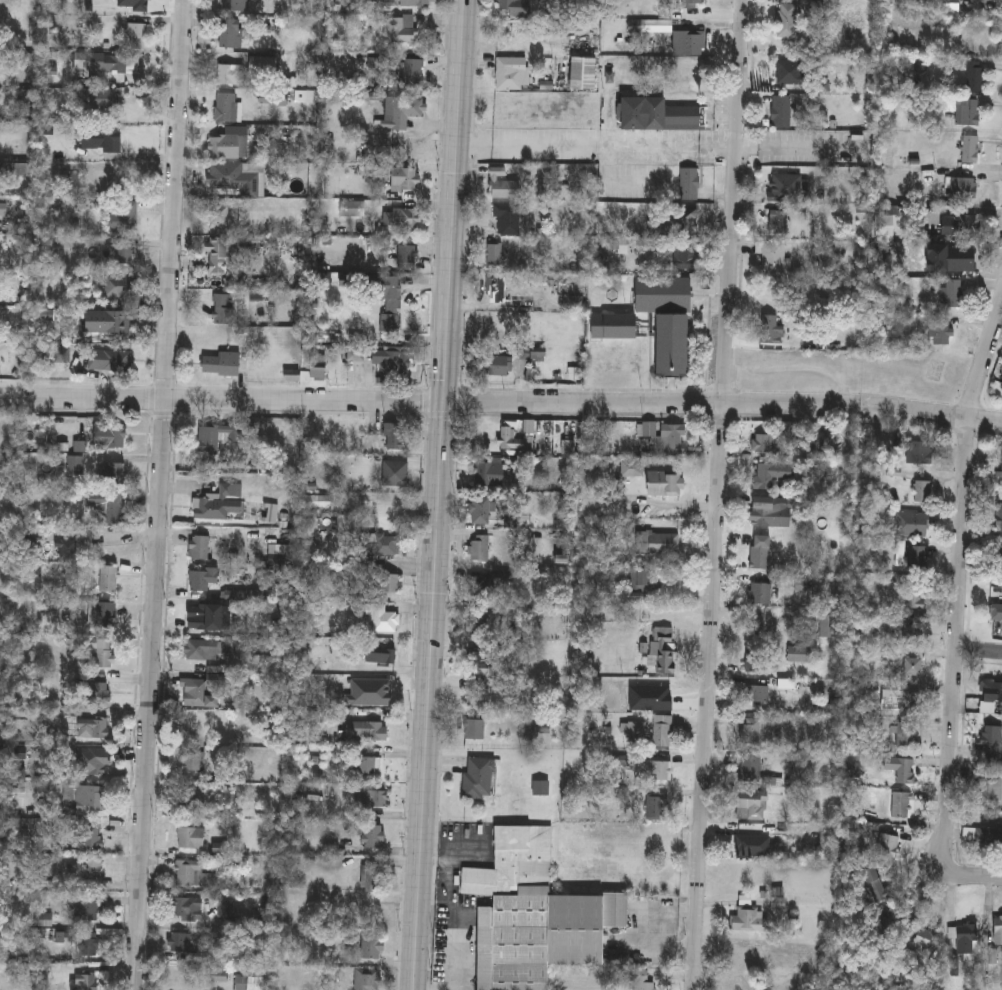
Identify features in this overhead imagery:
building: (415, 2)
building: (689, 4)
building: (234, 5)
building: (136, 7)
building: (515, 8)
building: (788, 22)
building: (398, 27)
building: (229, 32)
building: (135, 35)
building: (690, 45)
building: (113, 62)
building: (586, 71)
building: (412, 72)
building: (229, 73)
building: (792, 74)
building: (513, 75)
building: (689, 75)
building: (975, 78)
building: (102, 96)
building: (224, 105)
building: (402, 111)
building: (502, 112)
building: (782, 113)
building: (969, 114)
building: (658, 116)
building: (99, 138)
building: (226, 142)
road: (596, 150)
building: (971, 151)
building: (225, 175)
building: (404, 177)
building: (72, 183)
building: (503, 188)
building: (681, 188)
building: (965, 189)
building: (786, 190)
building: (349, 207)
building: (218, 211)
building: (405, 216)
building: (121, 217)
building: (507, 221)
building: (897, 222)
building: (779, 224)
building: (677, 226)
building: (964, 226)
building: (220, 245)
building: (404, 253)
building: (123, 254)
building: (495, 256)
building: (685, 257)
building: (774, 259)
building: (951, 260)
building: (390, 285)
building: (497, 291)
building: (952, 295)
building: (221, 304)
building: (107, 320)
building: (389, 321)
building: (669, 321)
building: (616, 328)
building: (941, 330)
building: (771, 332)
building: (355, 351)
building: (388, 357)
building: (108, 358)
building: (220, 362)
building: (317, 365)
building: (498, 366)
road: (501, 400)
building: (394, 435)
building: (115, 436)
building: (209, 439)
building: (672, 440)
building: (515, 443)
building: (763, 445)
building: (920, 454)
building: (74, 464)
building: (632, 471)
building: (395, 473)
building: (490, 475)
building: (771, 475)
building: (1000, 475)
building: (665, 485)
building: (922, 493)
road: (717, 494)
road: (160, 495)
road: (439, 495)
building: (110, 496)
building: (220, 502)
building: (999, 511)
building: (775, 512)
building: (483, 513)
building: (912, 525)
building: (383, 545)
building: (657, 545)
building: (198, 547)
building: (66, 549)
building: (479, 550)
building: (309, 551)
building: (761, 553)
building: (997, 558)
building: (202, 578)
building: (108, 579)
building: (389, 582)
building: (645, 582)
road: (958, 585)
building: (483, 588)
building: (888, 588)
building: (761, 595)
building: (917, 595)
building: (106, 614)
building: (996, 615)
building: (197, 617)
building: (378, 617)
building: (478, 623)
building: (829, 628)
building: (912, 631)
building: (659, 648)
building: (203, 649)
building: (103, 653)
road: (978, 653)
building: (380, 655)
building: (800, 656)
building: (476, 659)
building: (755, 662)
building: (913, 667)
building: (95, 690)
building: (996, 692)
building: (199, 693)
building: (755, 695)
building: (477, 697)
building: (906, 701)
building: (92, 728)
building: (367, 730)
building: (474, 730)
building: (633, 730)
building: (663, 732)
building: (751, 732)
building: (907, 736)
building: (992, 743)
building: (191, 759)
building: (96, 761)
building: (368, 766)
building: (751, 770)
building: (659, 772)
building: (904, 772)
building: (479, 779)
building: (989, 785)
building: (89, 797)
building: (375, 798)
building: (190, 803)
building: (900, 806)
building: (752, 807)
building: (657, 808)
building: (92, 834)
building: (373, 836)
building: (190, 837)
building: (989, 838)
building: (744, 846)
building: (888, 847)
building: (84, 871)
building: (191, 873)
building: (372, 877)
road: (972, 880)
building: (875, 885)
building: (84, 907)
building: (778, 907)
building: (188, 908)
road: (456, 911)
building: (746, 915)
building: (535, 916)
building: (998, 932)
building: (926, 939)
building: (965, 940)
building: (180, 943)
building: (88, 945)
building: (371, 946)
building: (366, 978)
building: (85, 980)
building: (642, 982)
building: (256, 983)

